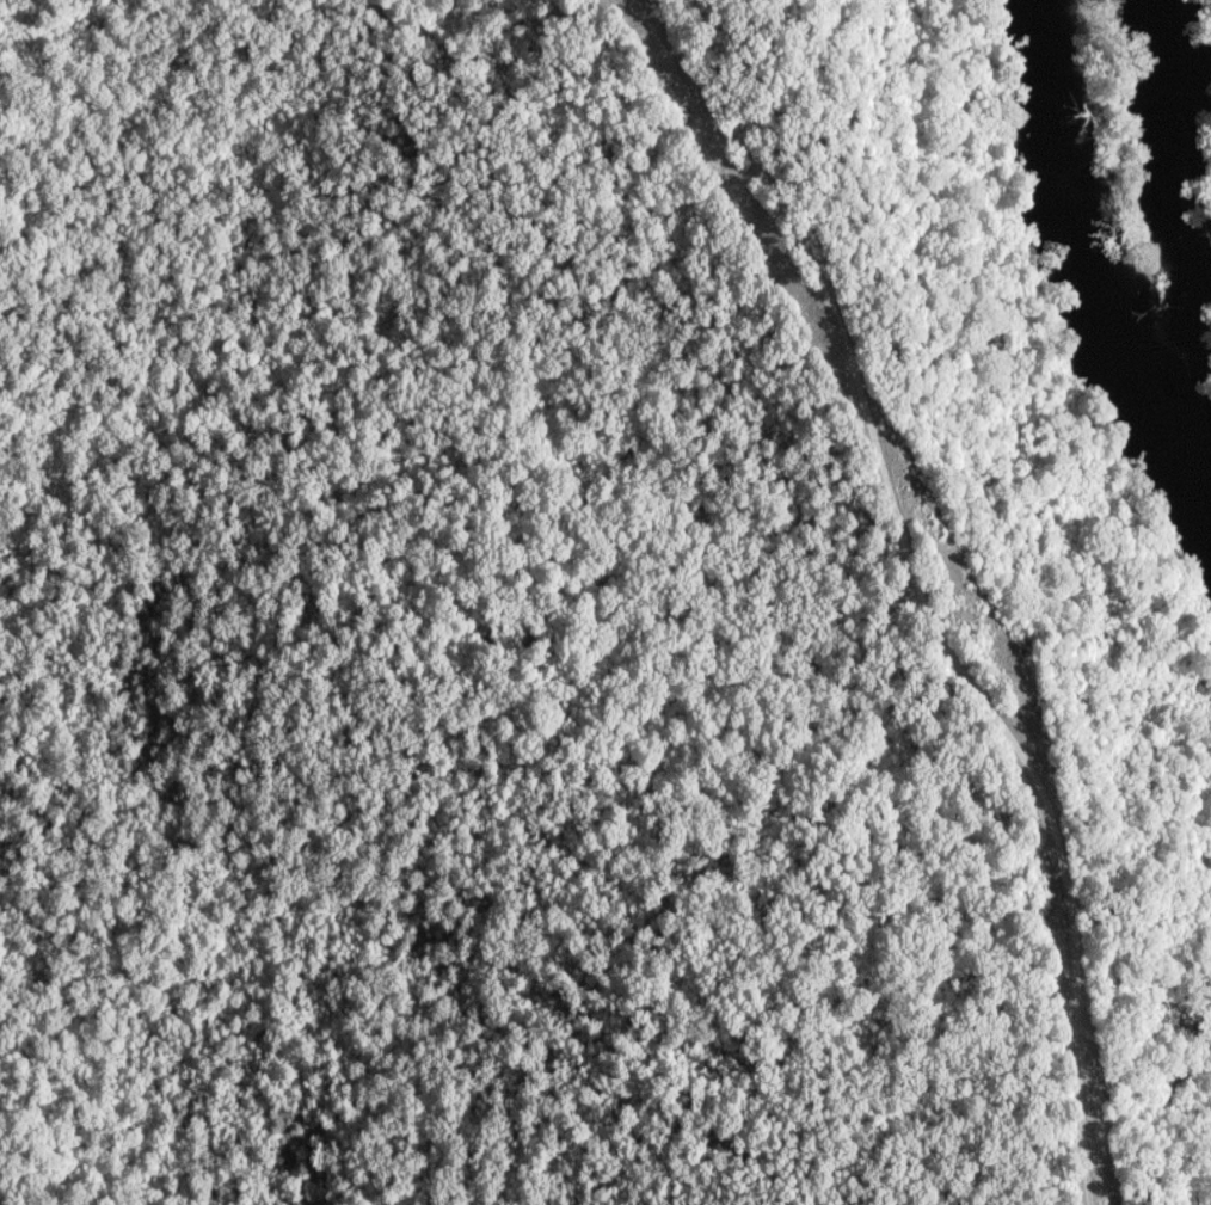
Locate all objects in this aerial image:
road: (660, 8)
road: (646, 11)
river: (1082, 262)
road: (922, 600)

